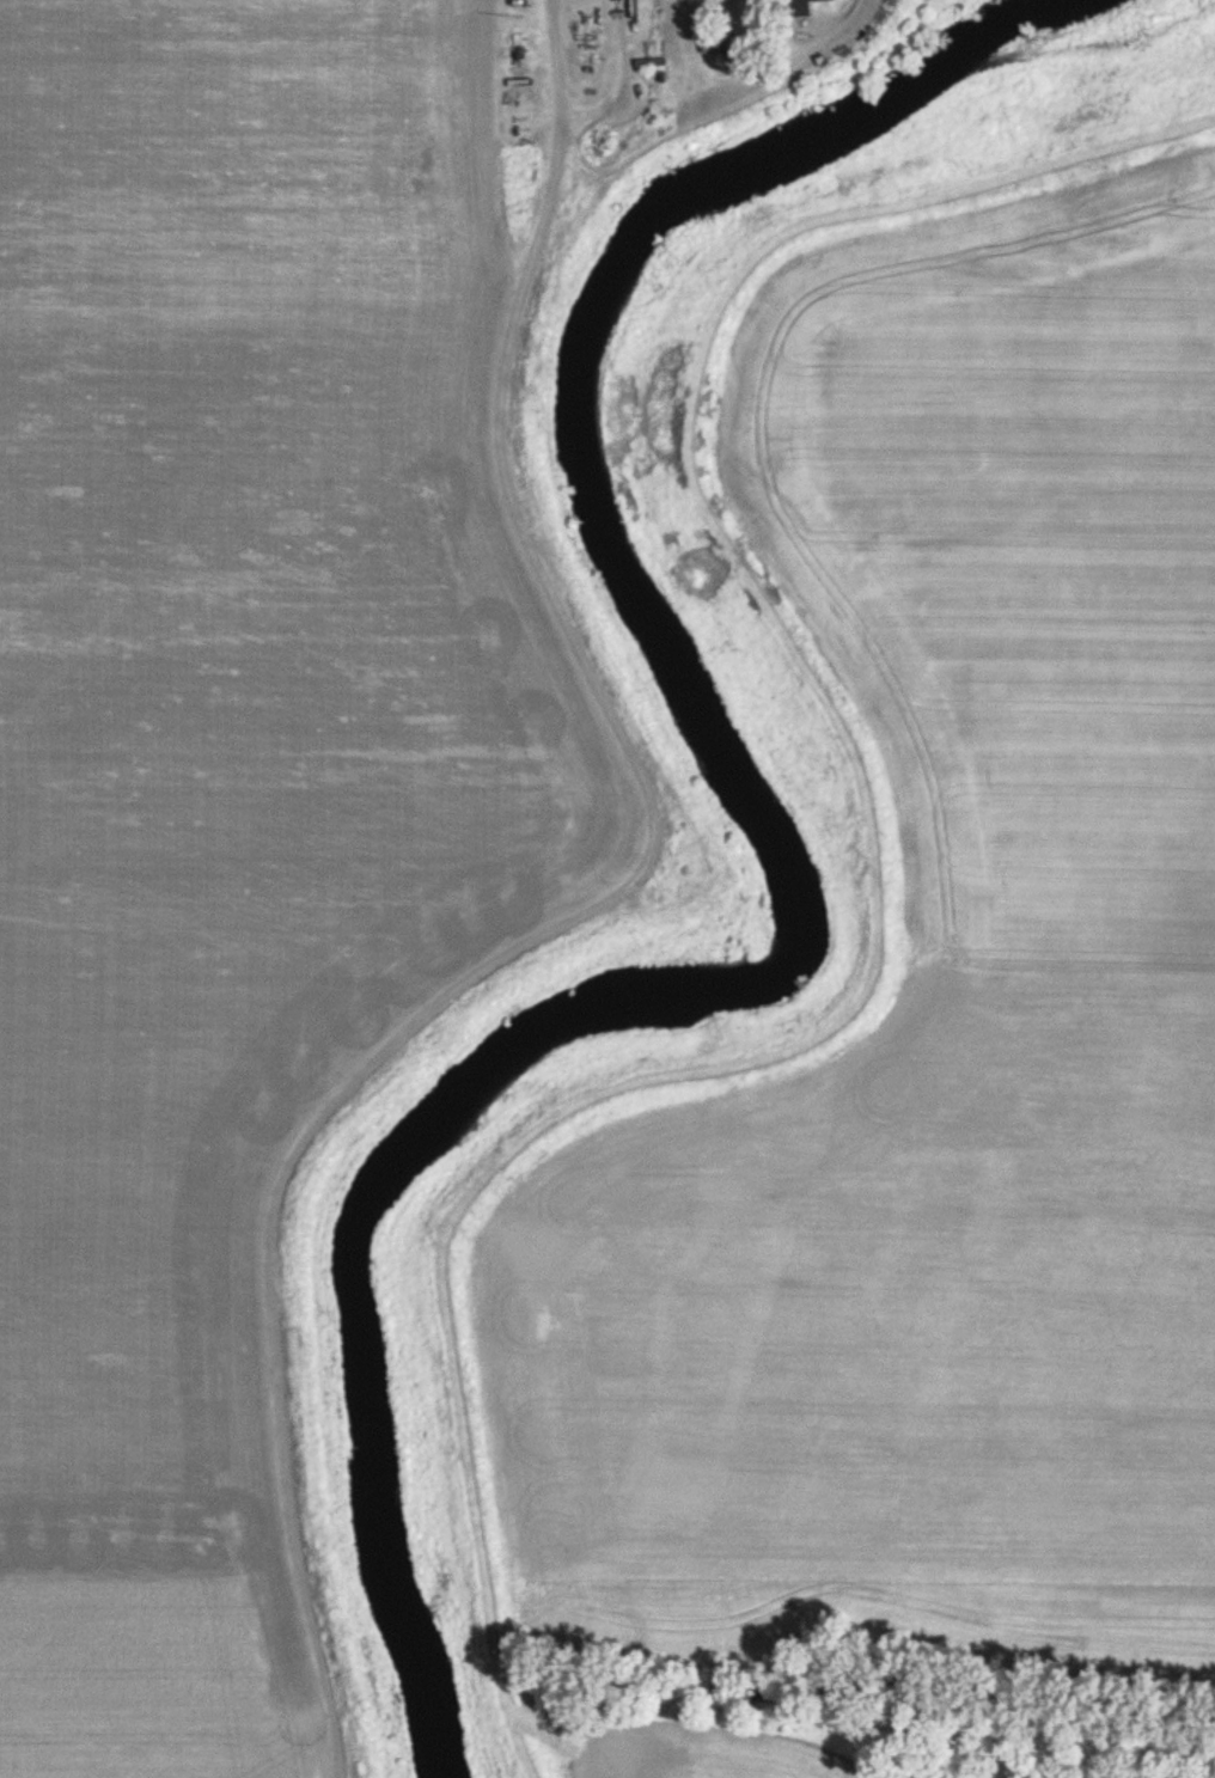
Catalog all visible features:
building: (818, 0)
building: (790, 8)
building: (706, 45)
river: (789, 879)
road: (579, 922)

